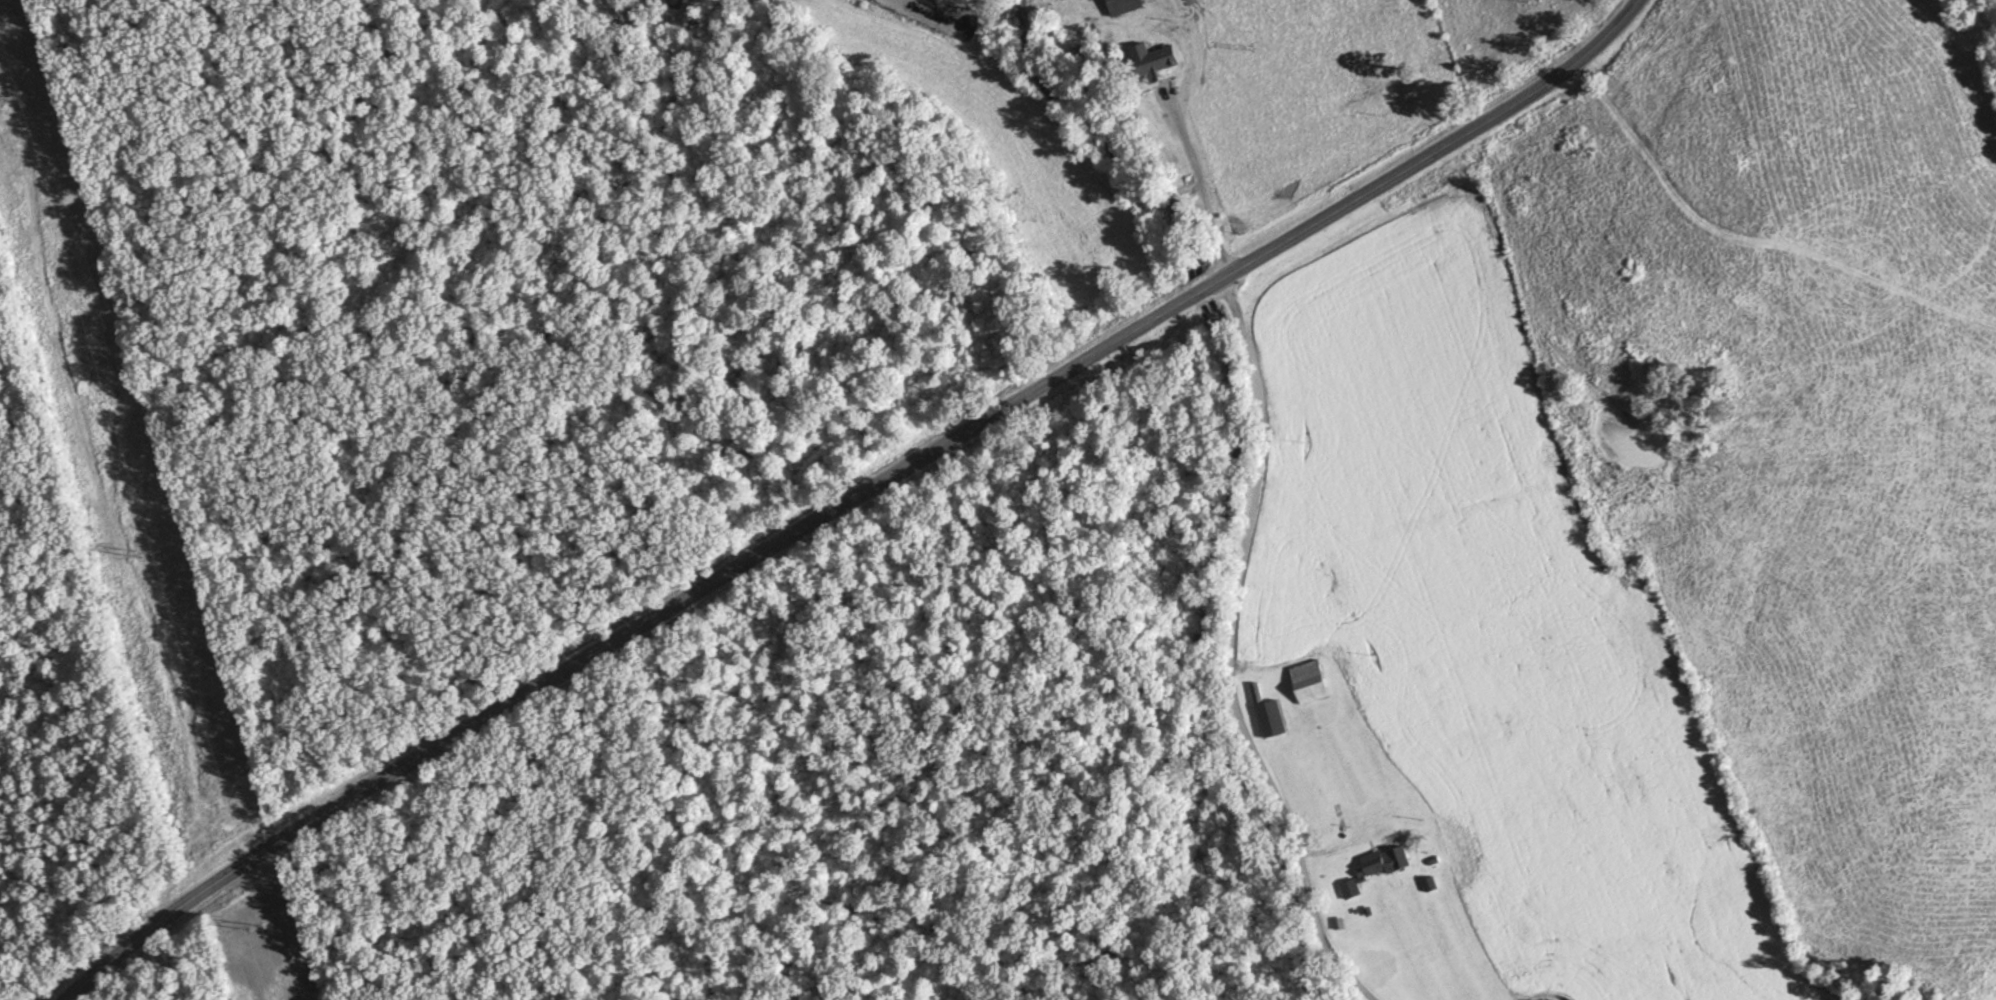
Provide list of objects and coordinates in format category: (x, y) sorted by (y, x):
building: (1122, 6)
building: (1151, 59)
power tower: (12, 95)
road: (1195, 175)
road: (848, 497)
power tower: (144, 549)
road: (1230, 652)
building: (1310, 681)
building: (1257, 692)
building: (1272, 718)
building: (1377, 867)
power tower: (253, 926)

